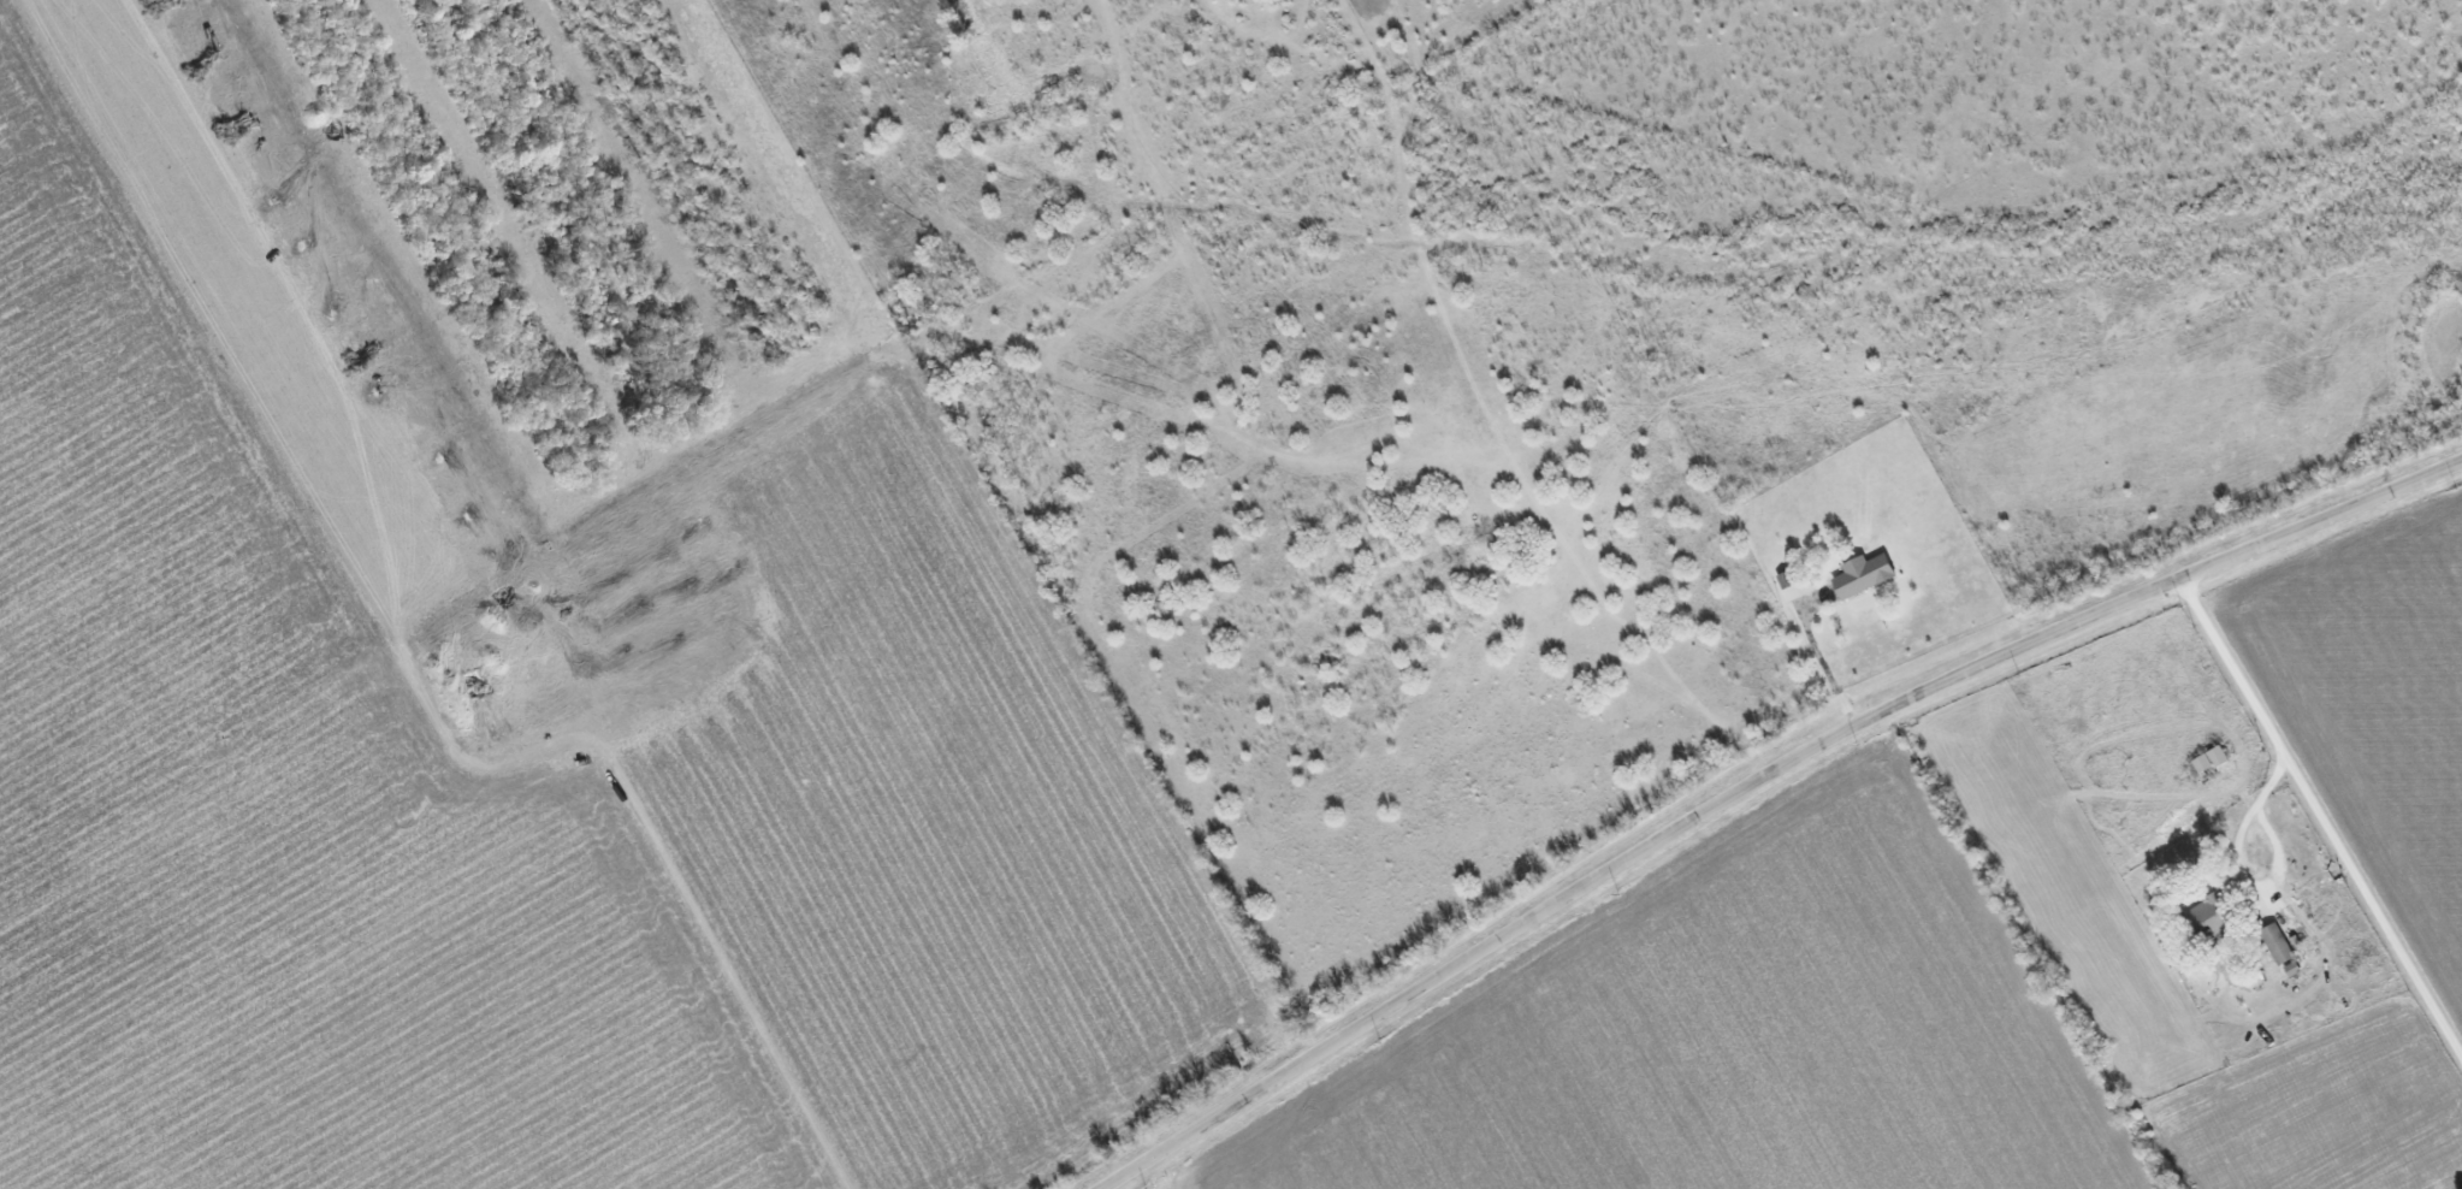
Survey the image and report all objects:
building: (1866, 575)
road: (1818, 657)
road: (1759, 782)
road: (2321, 817)
road: (2242, 877)
building: (2280, 943)
building: (2295, 969)

